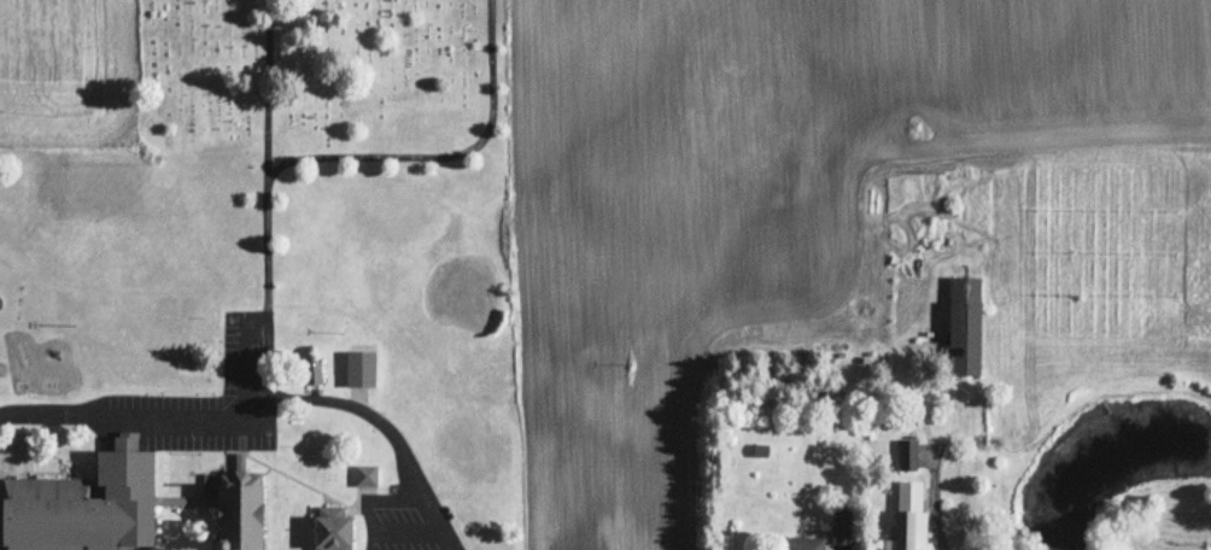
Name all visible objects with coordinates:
road: (268, 84)
road: (445, 150)
building: (964, 329)
building: (362, 371)
building: (312, 375)
road: (291, 392)
road: (135, 411)
building: (908, 457)
building: (367, 478)
road: (932, 503)
building: (915, 507)
building: (119, 508)
building: (843, 528)
building: (911, 542)

